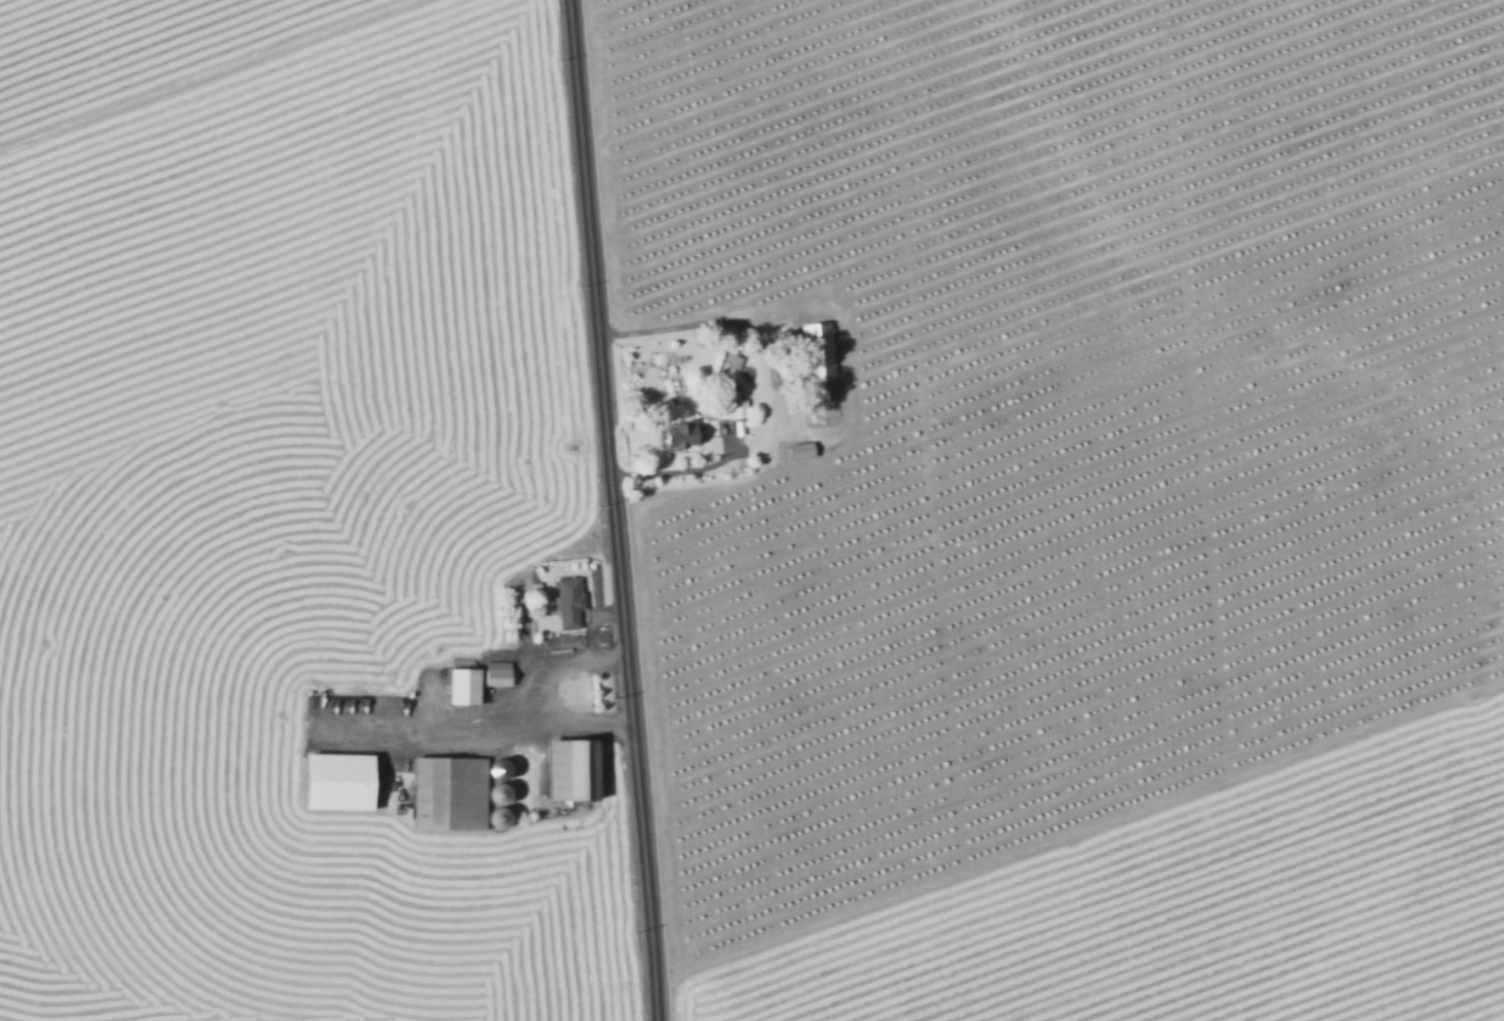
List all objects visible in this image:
building: (816, 349)
building: (733, 360)
building: (724, 409)
building: (674, 435)
building: (799, 450)
crop: (274, 499)
road: (612, 510)
building: (534, 585)
building: (567, 601)
road: (557, 667)
building: (494, 674)
building: (458, 686)
road: (540, 725)
building: (495, 768)
silo: (495, 768)
building: (566, 770)
building: (337, 782)
building: (444, 793)
building: (493, 794)
silo: (493, 794)
building: (493, 819)
silo: (493, 819)
crop: (1181, 903)

